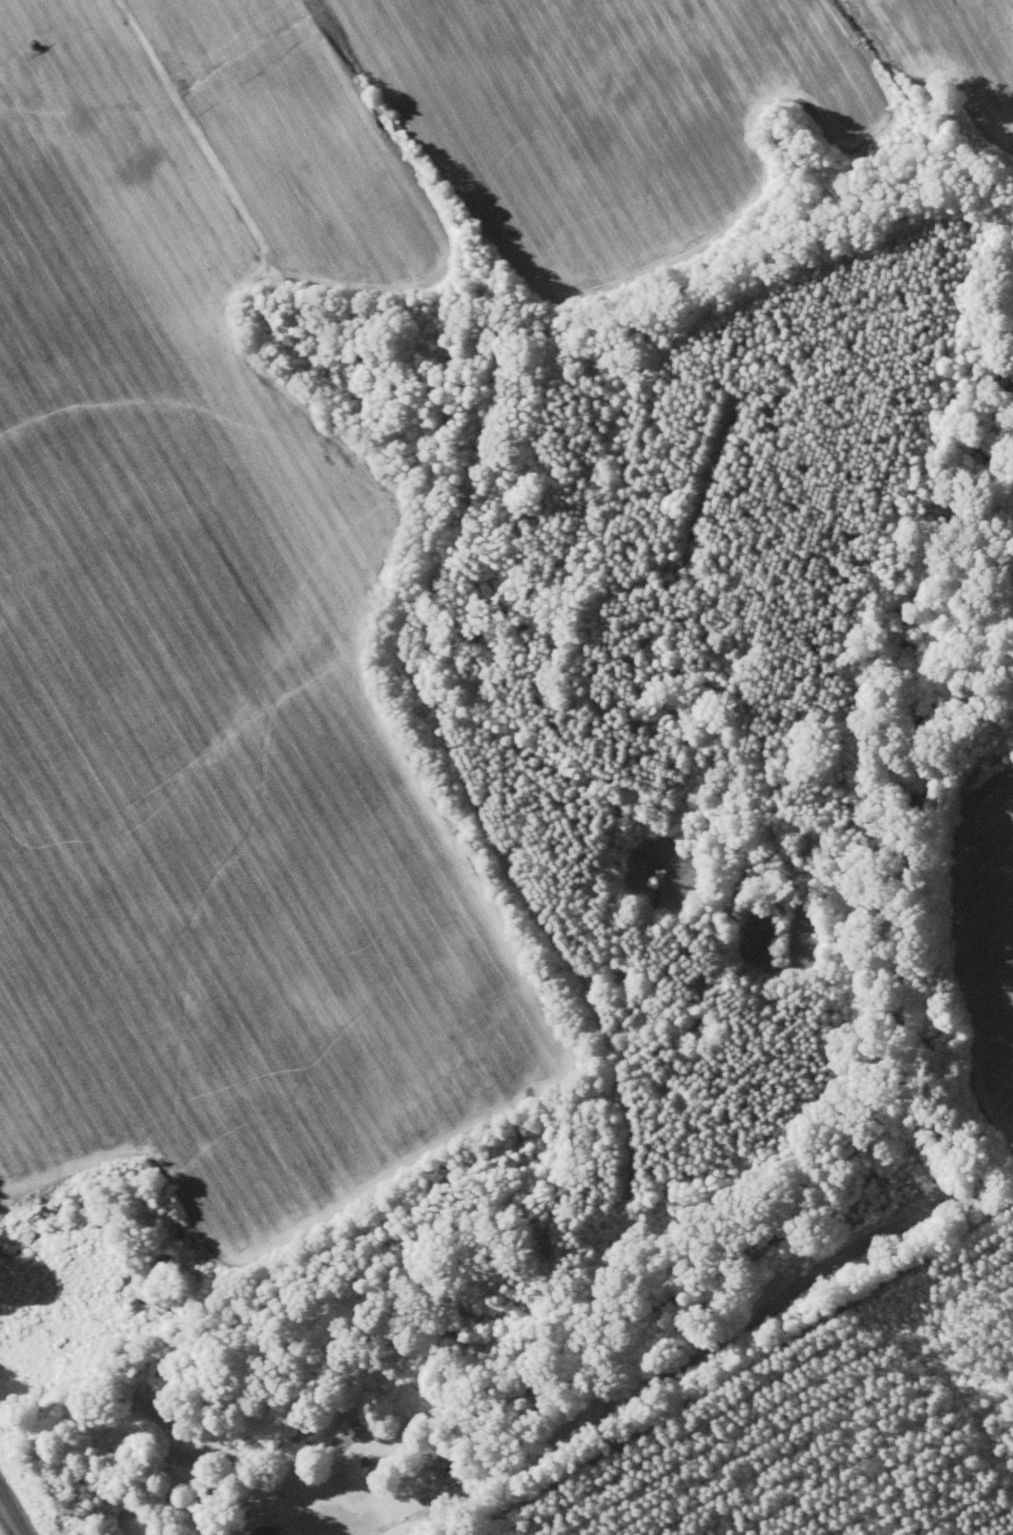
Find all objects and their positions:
road: (343, 1225)
road: (687, 1353)
railway: (11, 1516)
building: (264, 1532)

